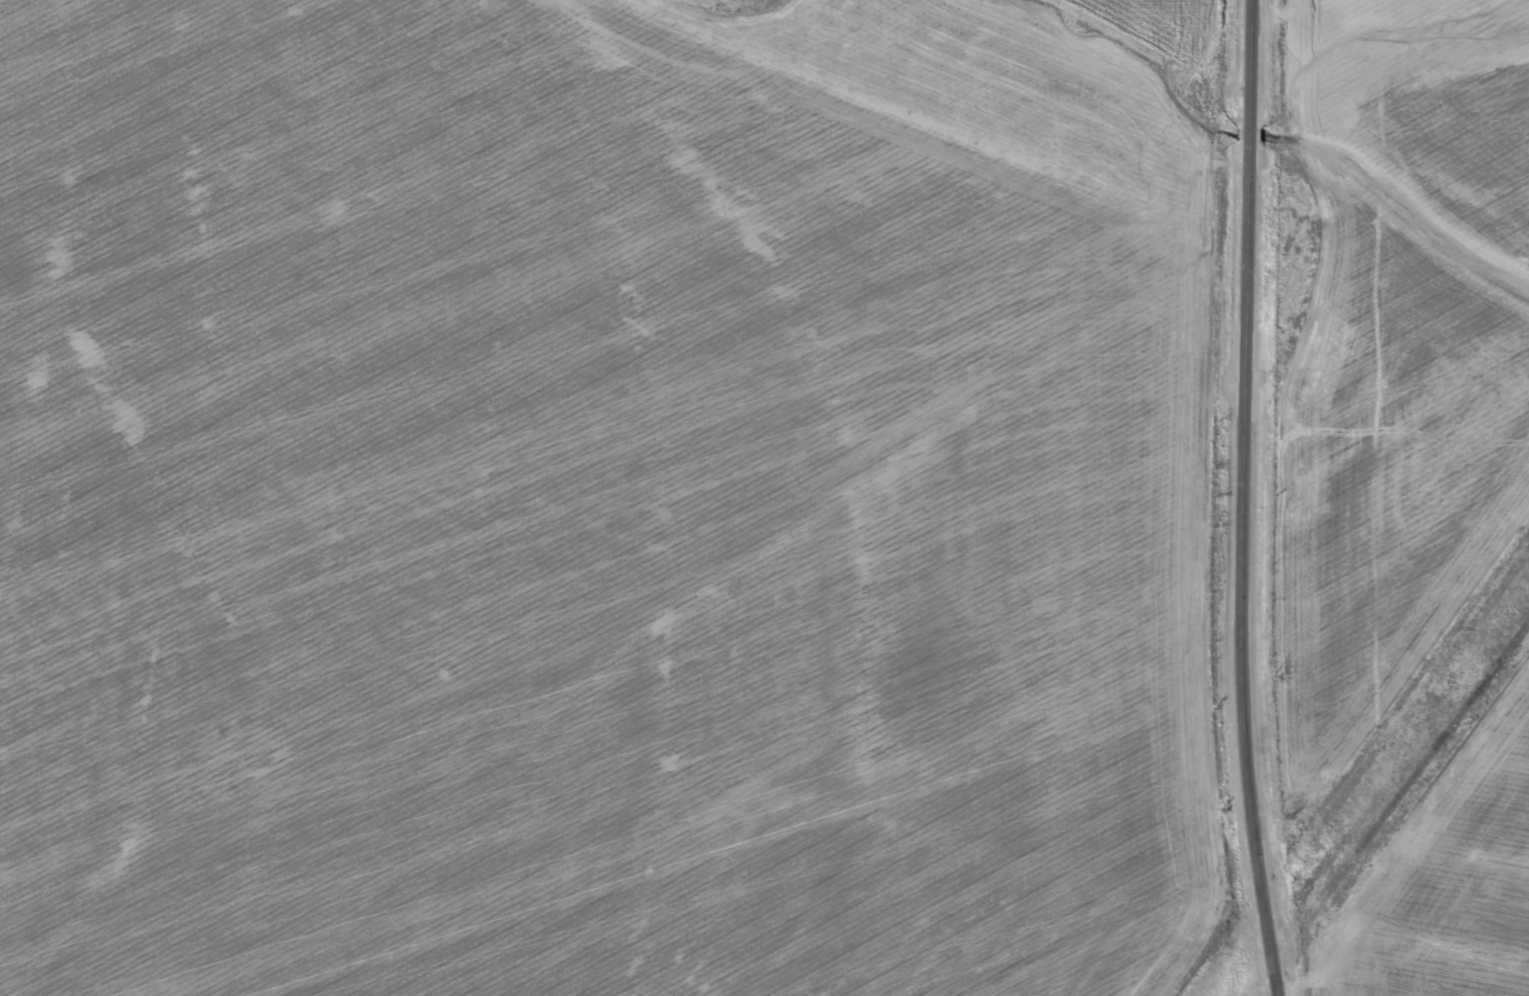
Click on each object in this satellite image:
road: (1244, 499)

